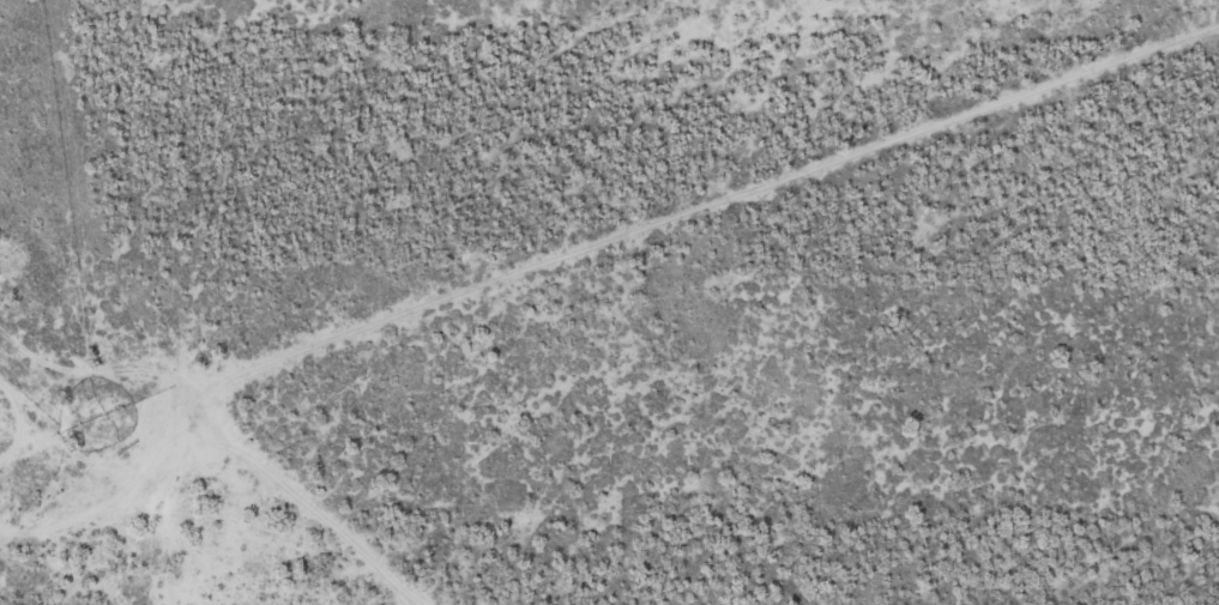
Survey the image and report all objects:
road: (215, 436)

